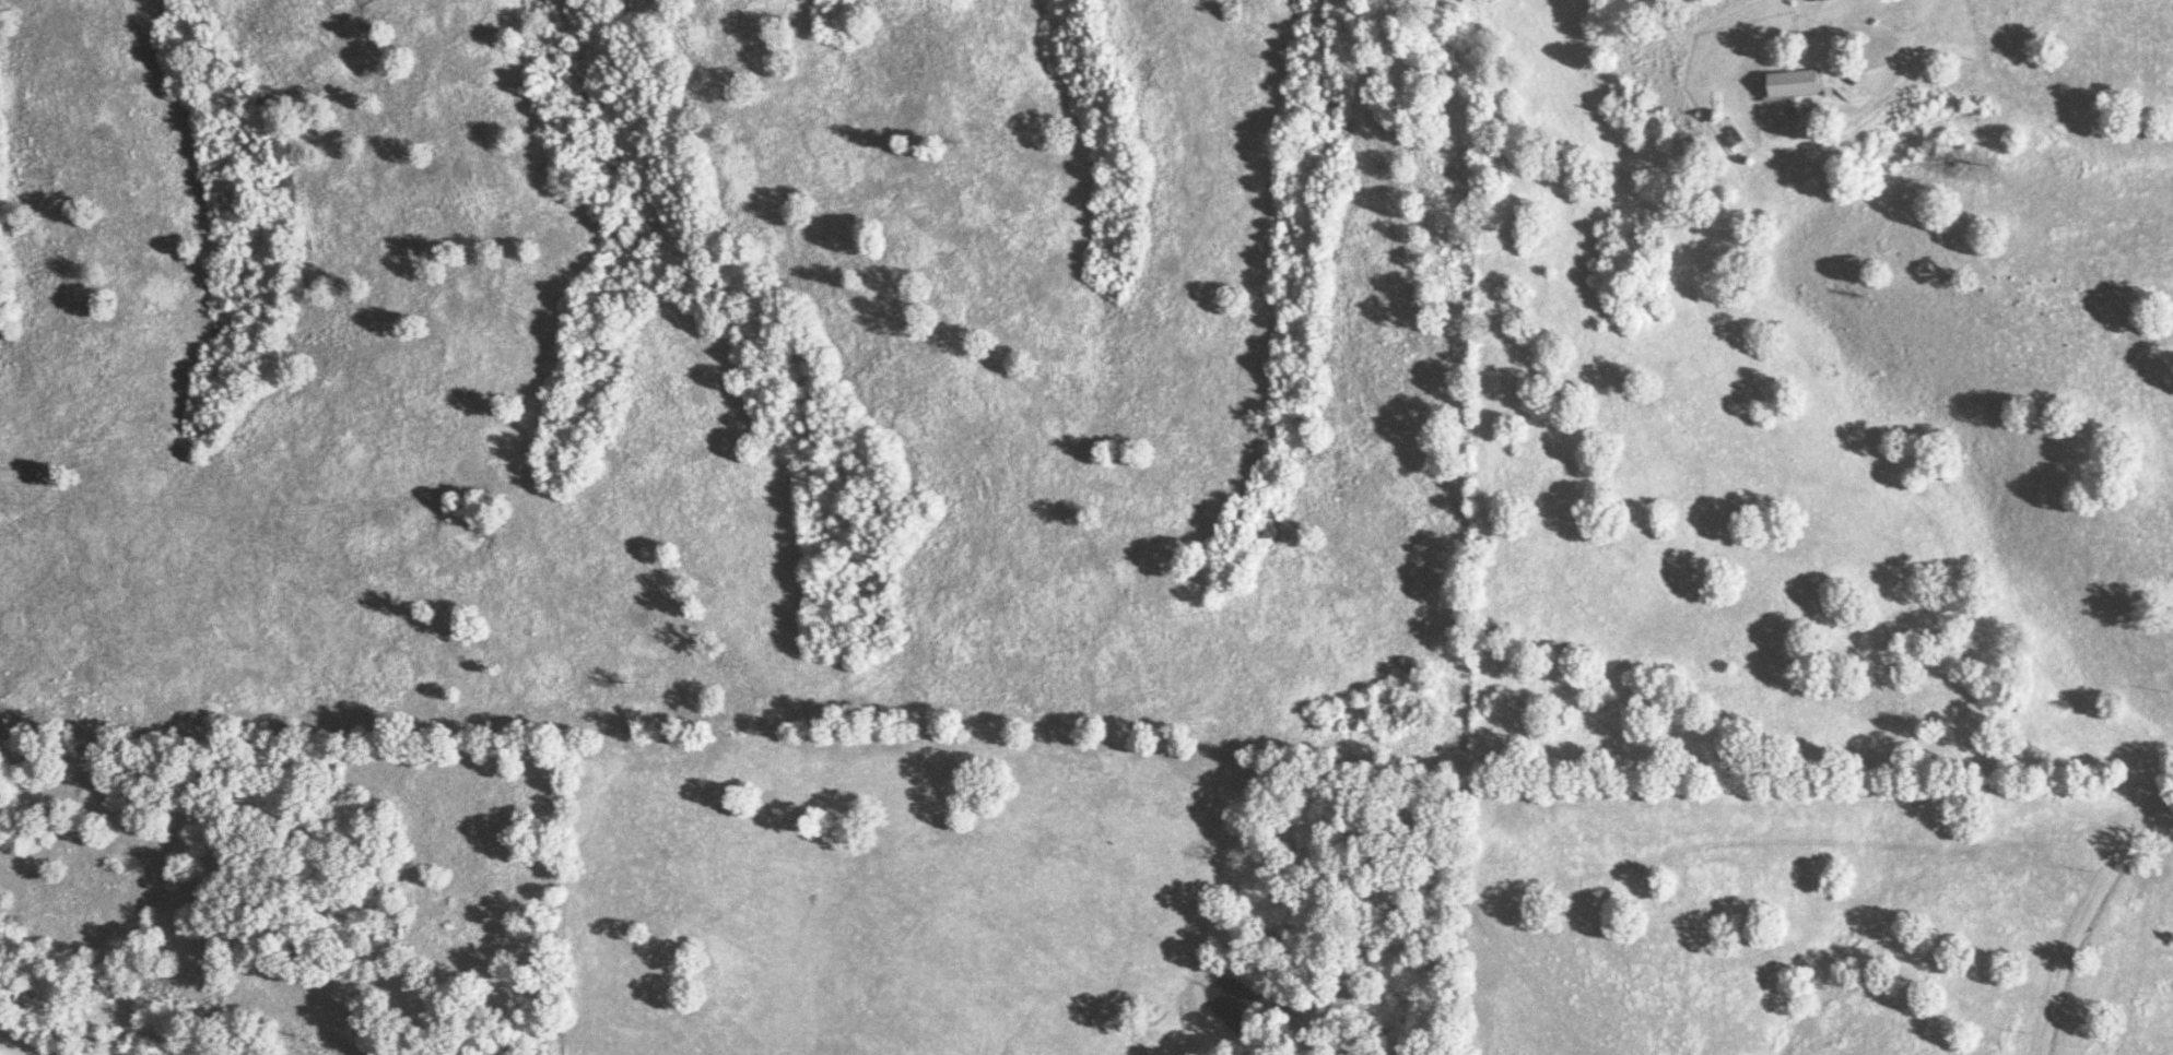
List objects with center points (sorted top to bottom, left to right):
building: (1787, 84)
building: (2161, 944)

